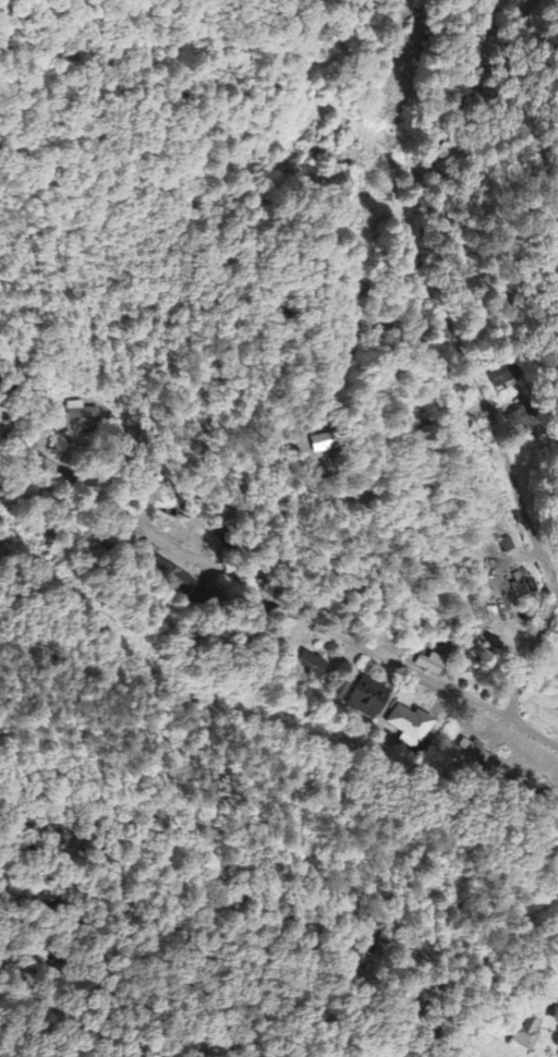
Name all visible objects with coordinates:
river: (439, 86)
river: (398, 193)
road: (460, 355)
river: (469, 418)
building: (81, 424)
building: (319, 444)
building: (171, 578)
road: (267, 599)
river: (536, 642)
river: (548, 665)
building: (430, 666)
building: (311, 667)
building: (366, 698)
building: (410, 727)

